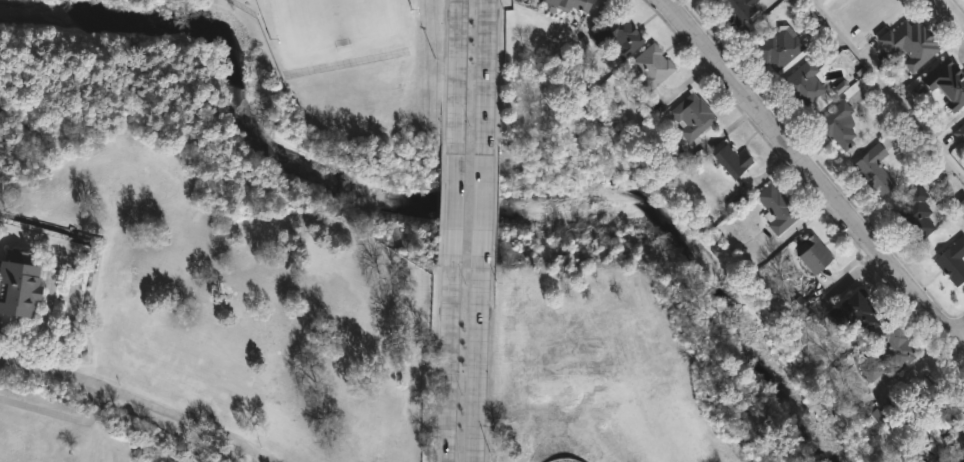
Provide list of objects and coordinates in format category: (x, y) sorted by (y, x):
building: (571, 4)
building: (734, 9)
road: (951, 14)
park: (333, 23)
building: (617, 35)
building: (909, 42)
building: (777, 47)
building: (650, 65)
road: (458, 71)
road: (486, 72)
park: (339, 73)
road: (894, 81)
building: (947, 82)
building: (802, 83)
building: (840, 87)
building: (691, 115)
building: (837, 124)
building: (960, 132)
building: (732, 159)
road: (810, 170)
building: (873, 170)
building: (777, 208)
building: (963, 210)
road: (452, 211)
road: (482, 211)
building: (914, 213)
building: (812, 253)
building: (951, 260)
building: (17, 288)
building: (859, 312)
road: (958, 339)
building: (890, 350)
road: (446, 370)
road: (476, 370)
road: (140, 399)
road: (60, 413)
building: (871, 421)
building: (933, 425)
building: (961, 441)

